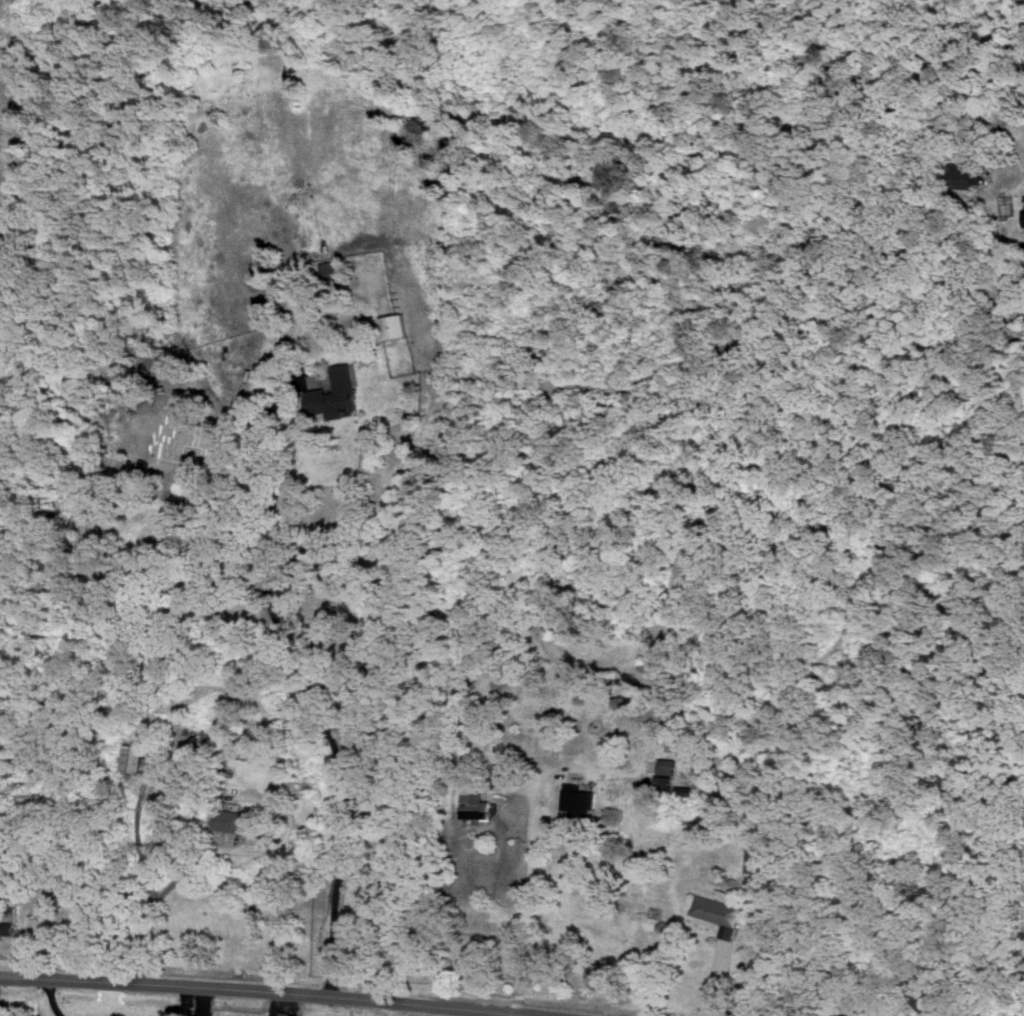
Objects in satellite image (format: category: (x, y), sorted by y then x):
road: (12, 97)
building: (964, 175)
road: (1000, 176)
building: (394, 325)
building: (334, 391)
road: (357, 690)
building: (133, 756)
building: (669, 765)
building: (666, 780)
building: (581, 799)
building: (476, 802)
building: (235, 819)
road: (95, 881)
road: (528, 907)
building: (718, 913)
building: (7, 928)
road: (715, 971)
road: (276, 990)
building: (919, 993)
road: (895, 1011)
building: (283, 1013)

